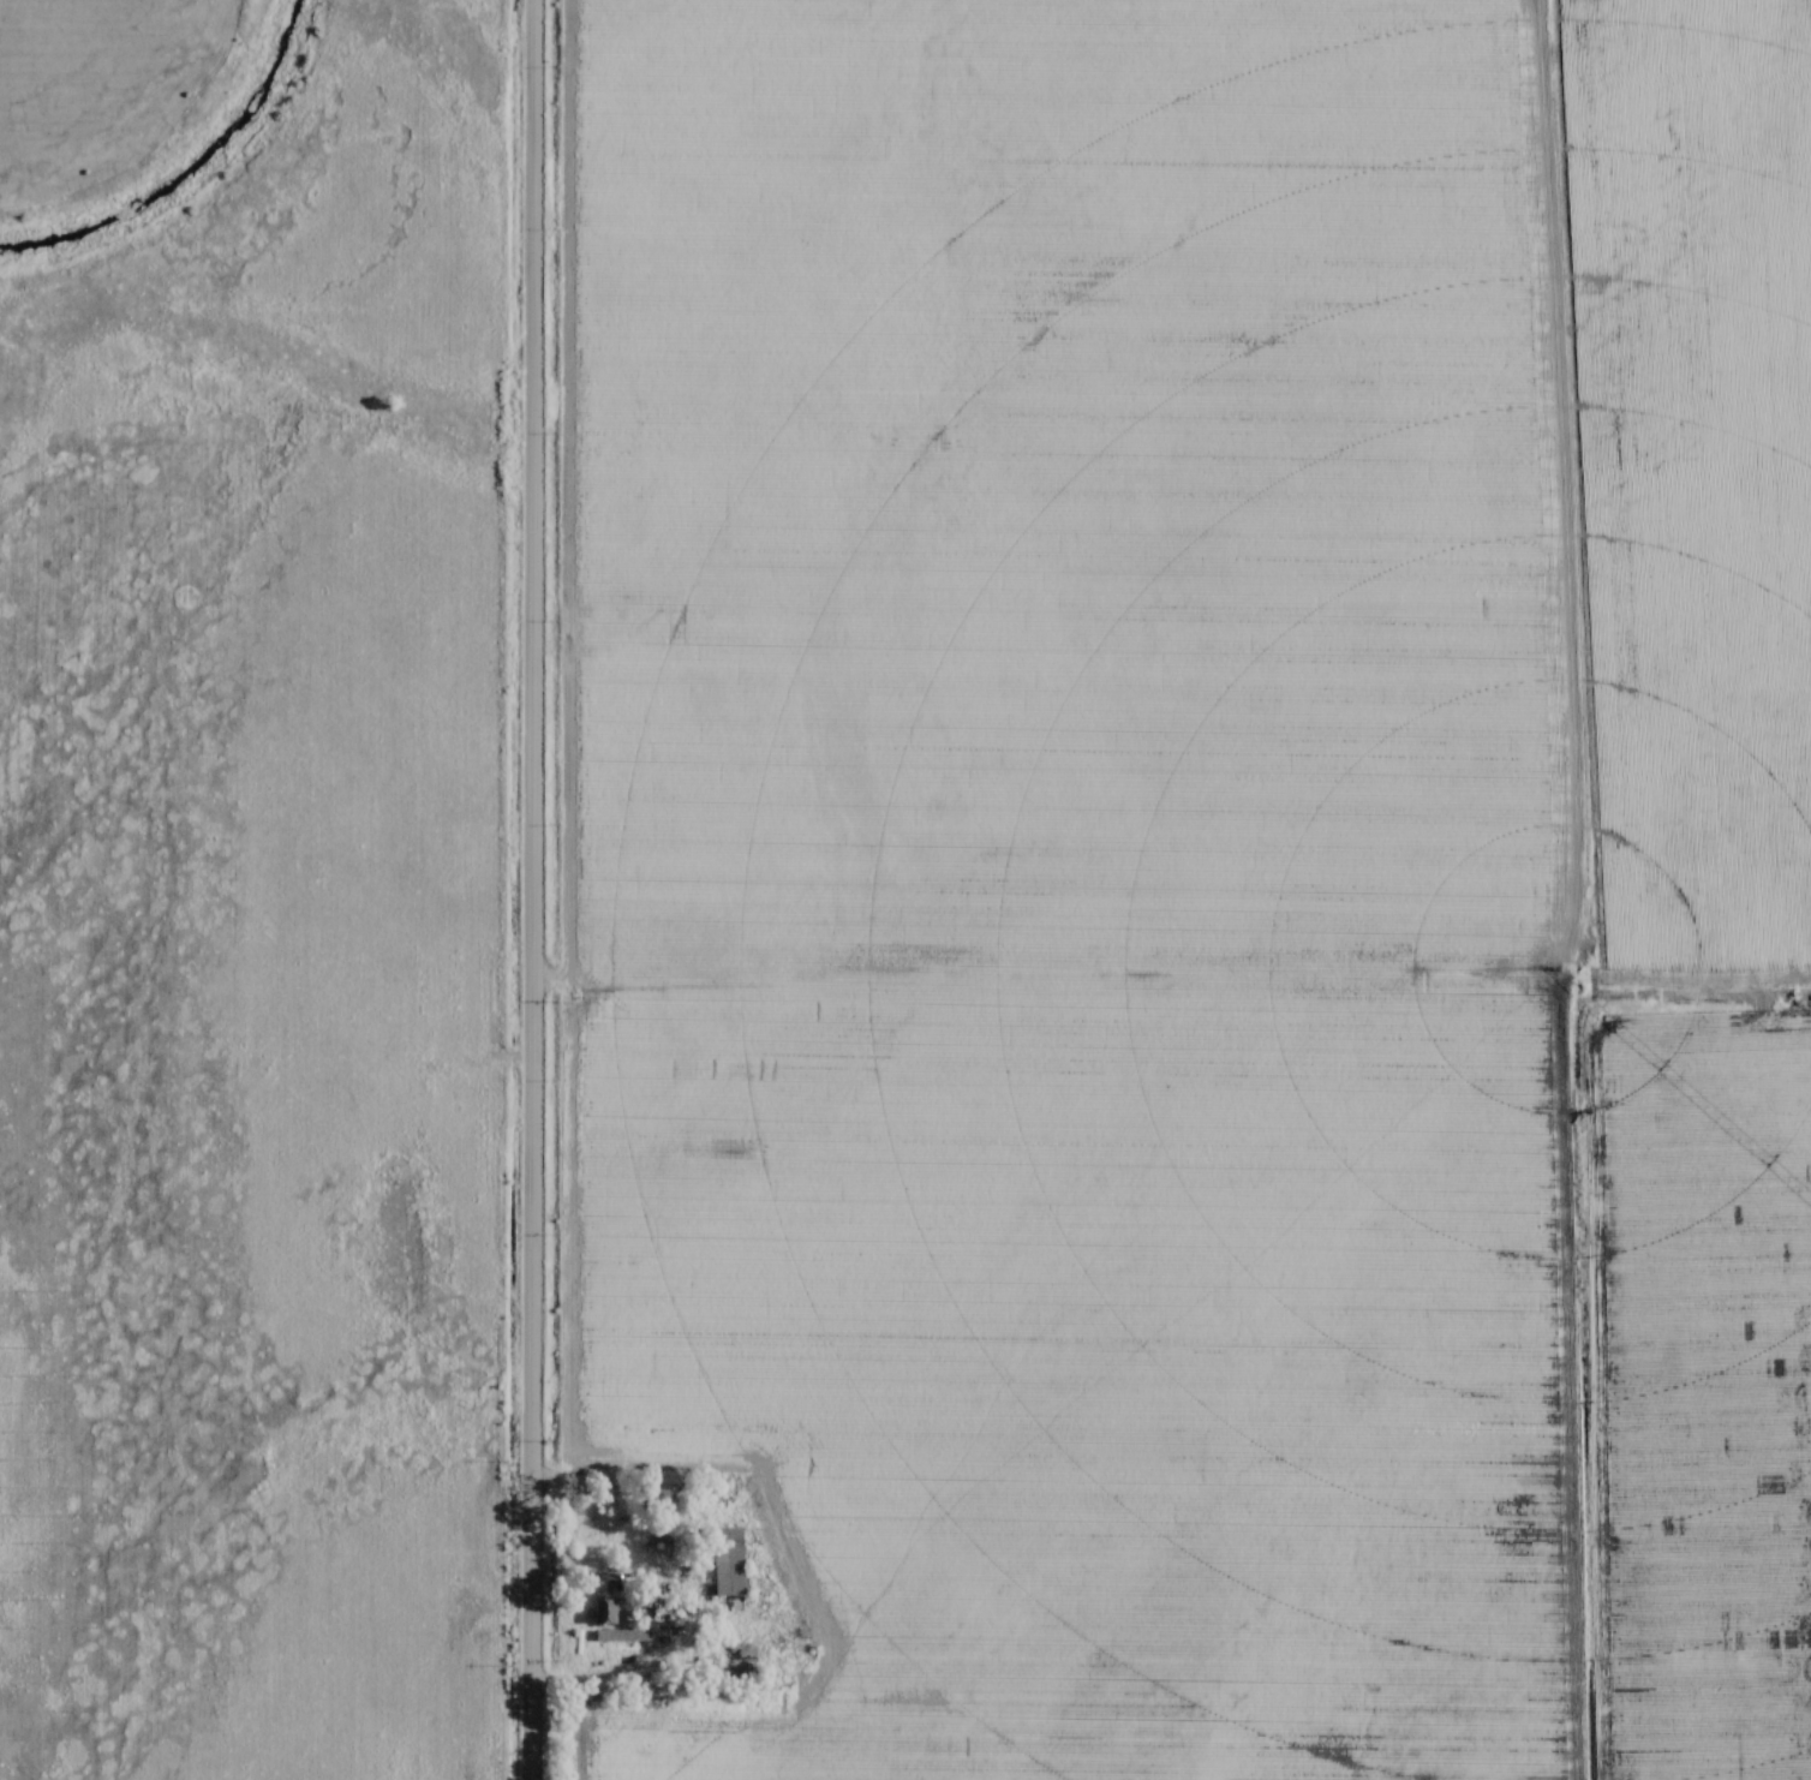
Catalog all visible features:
road: (531, 890)
building: (733, 1560)
building: (606, 1611)
building: (623, 1635)
building: (743, 1659)
road: (605, 1682)

